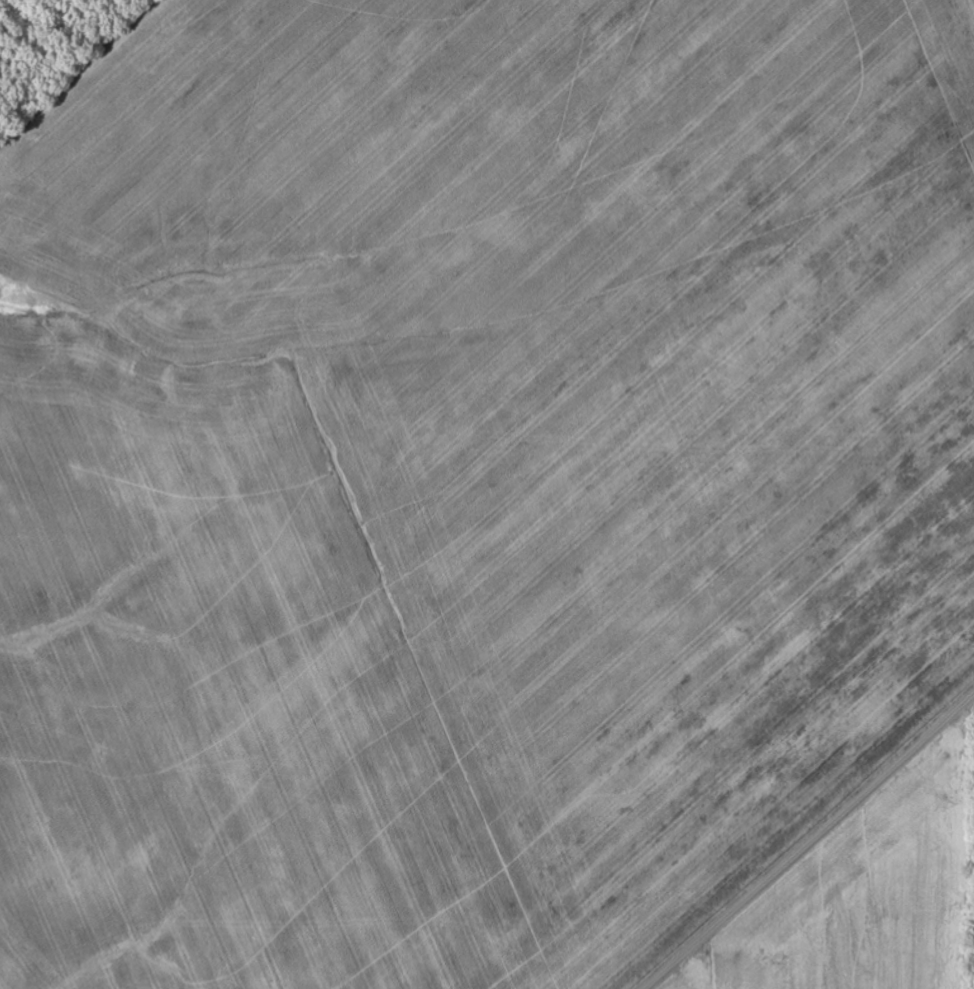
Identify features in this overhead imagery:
road: (810, 841)

